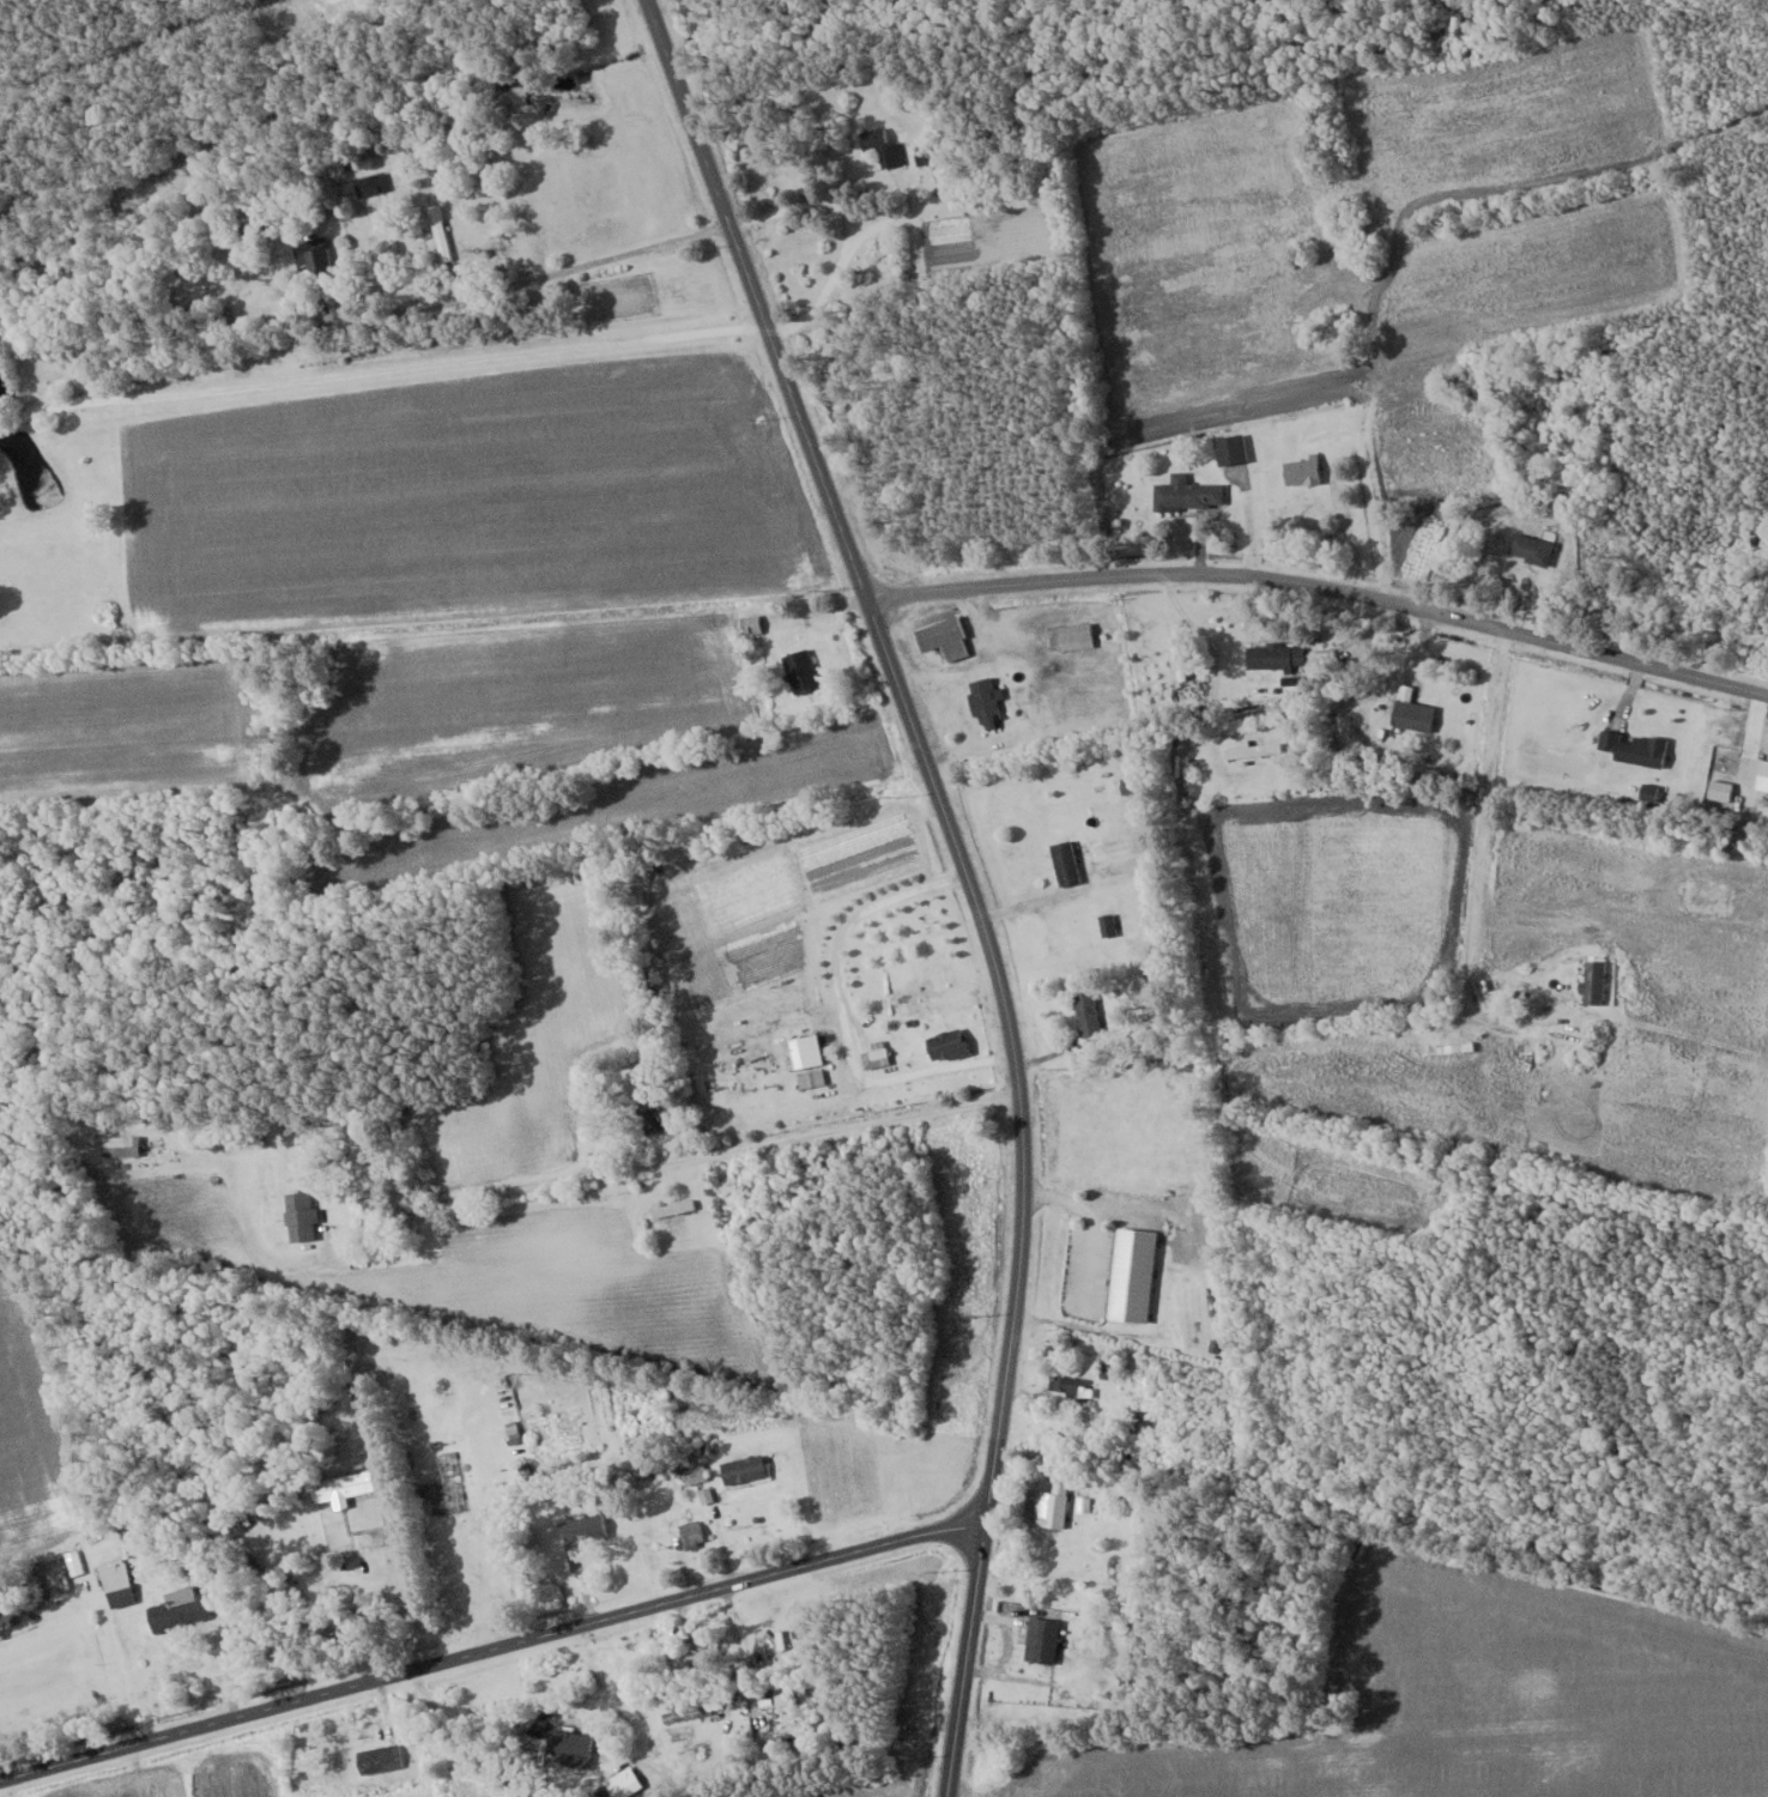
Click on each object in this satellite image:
road: (302, 2)
building: (880, 146)
building: (250, 219)
building: (438, 232)
building: (315, 261)
road: (402, 358)
building: (1230, 450)
building: (1302, 471)
building: (1186, 495)
building: (1531, 549)
road: (1322, 588)
building: (751, 624)
building: (1076, 636)
building: (943, 637)
building: (1274, 655)
road: (1213, 667)
building: (799, 670)
building: (986, 700)
building: (1412, 714)
building: (1631, 746)
building: (1252, 749)
road: (1475, 854)
building: (1065, 861)
road: (967, 876)
building: (1107, 924)
building: (1592, 981)
building: (1085, 1014)
building: (946, 1043)
building: (874, 1058)
building: (810, 1078)
building: (652, 1123)
building: (120, 1145)
road: (631, 1191)
building: (672, 1208)
building: (299, 1216)
building: (1131, 1275)
building: (1071, 1386)
building: (741, 1469)
building: (692, 1470)
building: (341, 1486)
building: (1052, 1506)
building: (582, 1529)
building: (690, 1533)
building: (115, 1583)
road: (407, 1585)
building: (176, 1609)
building: (1043, 1640)
road: (492, 1650)
building: (683, 1659)
building: (684, 1713)
building: (780, 1732)
building: (564, 1735)
building: (379, 1759)
building: (622, 1786)

